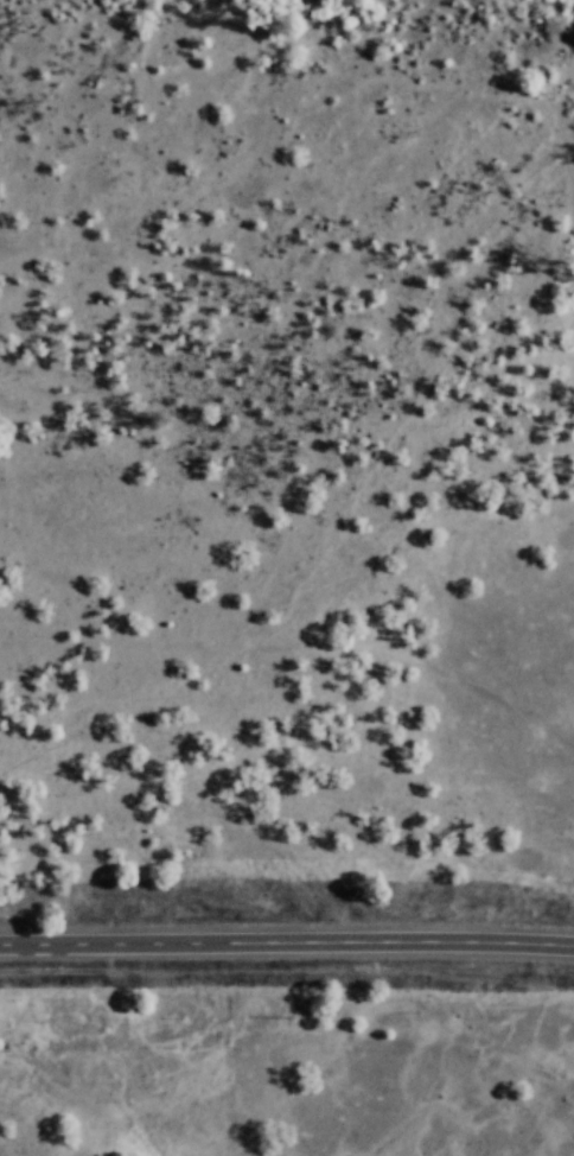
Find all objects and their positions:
road: (287, 942)

